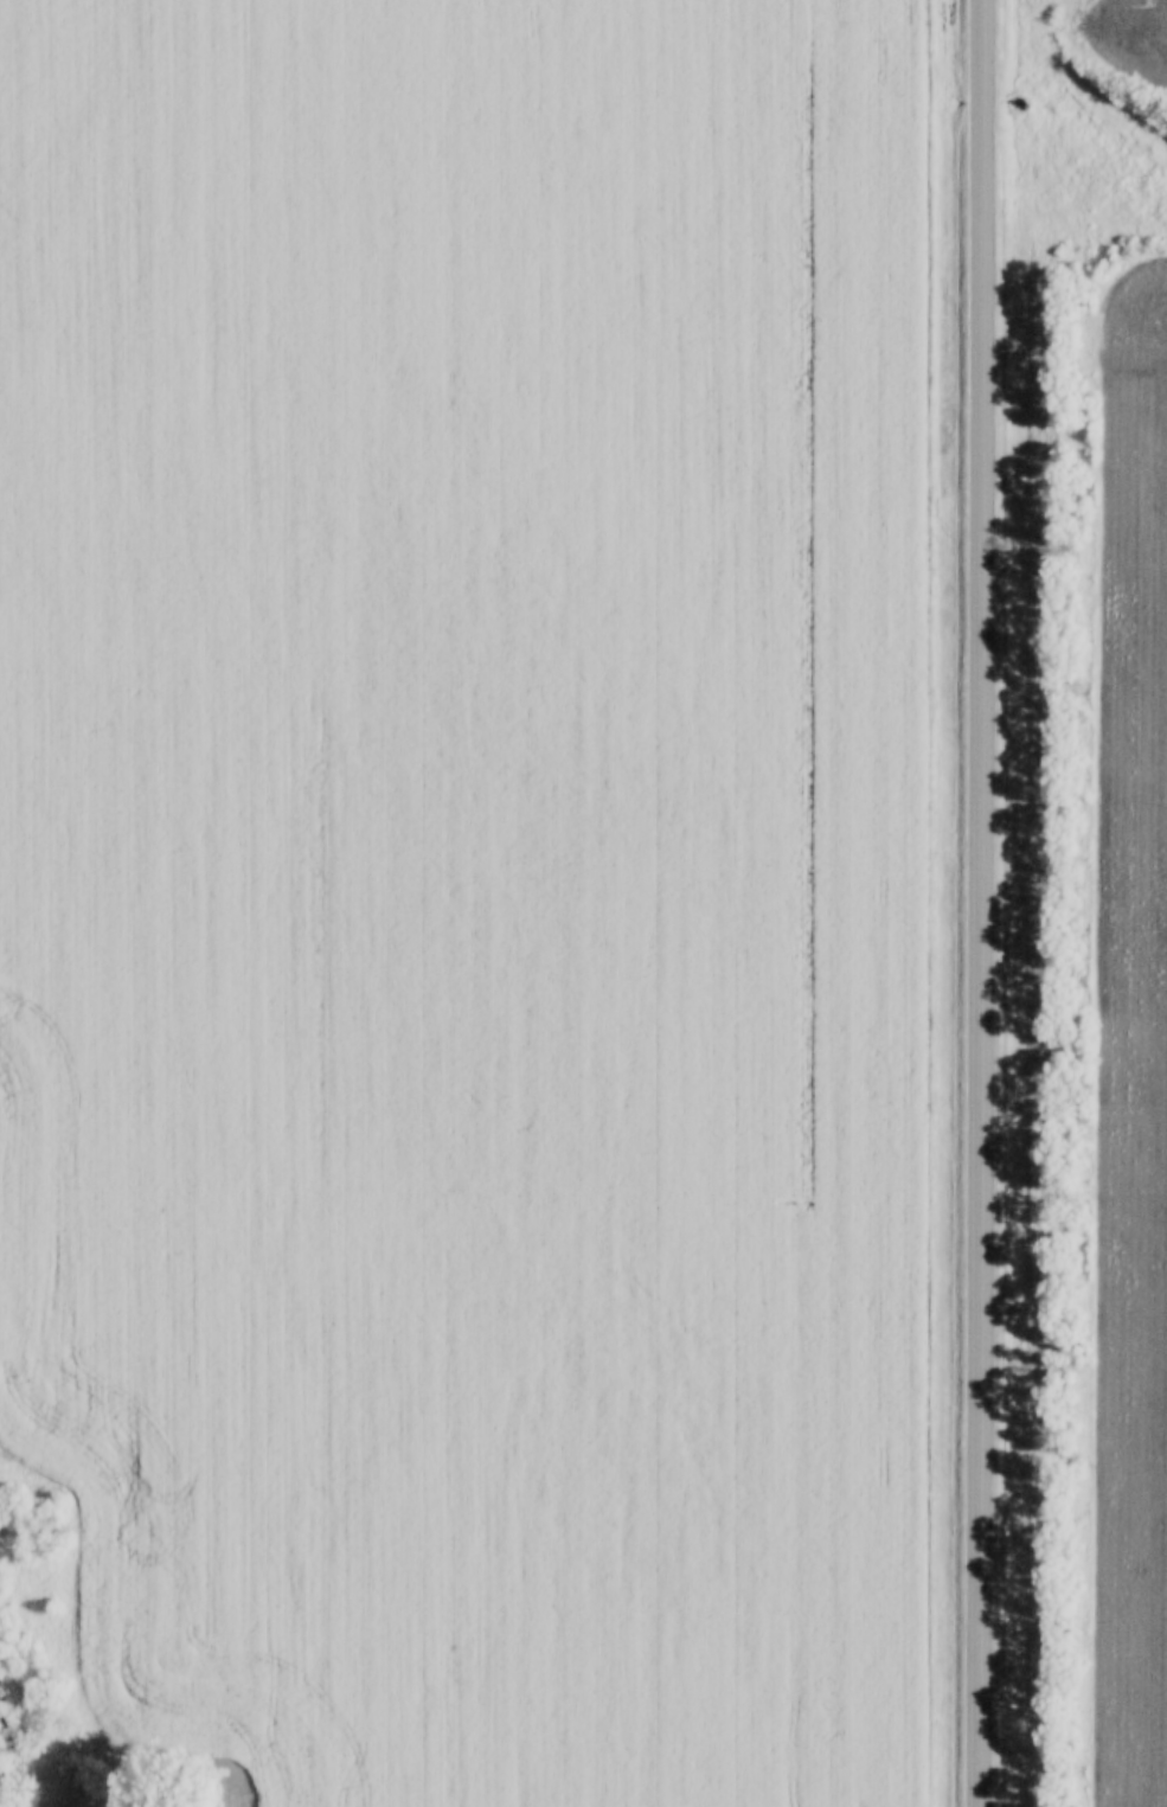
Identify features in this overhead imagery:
road: (980, 903)

